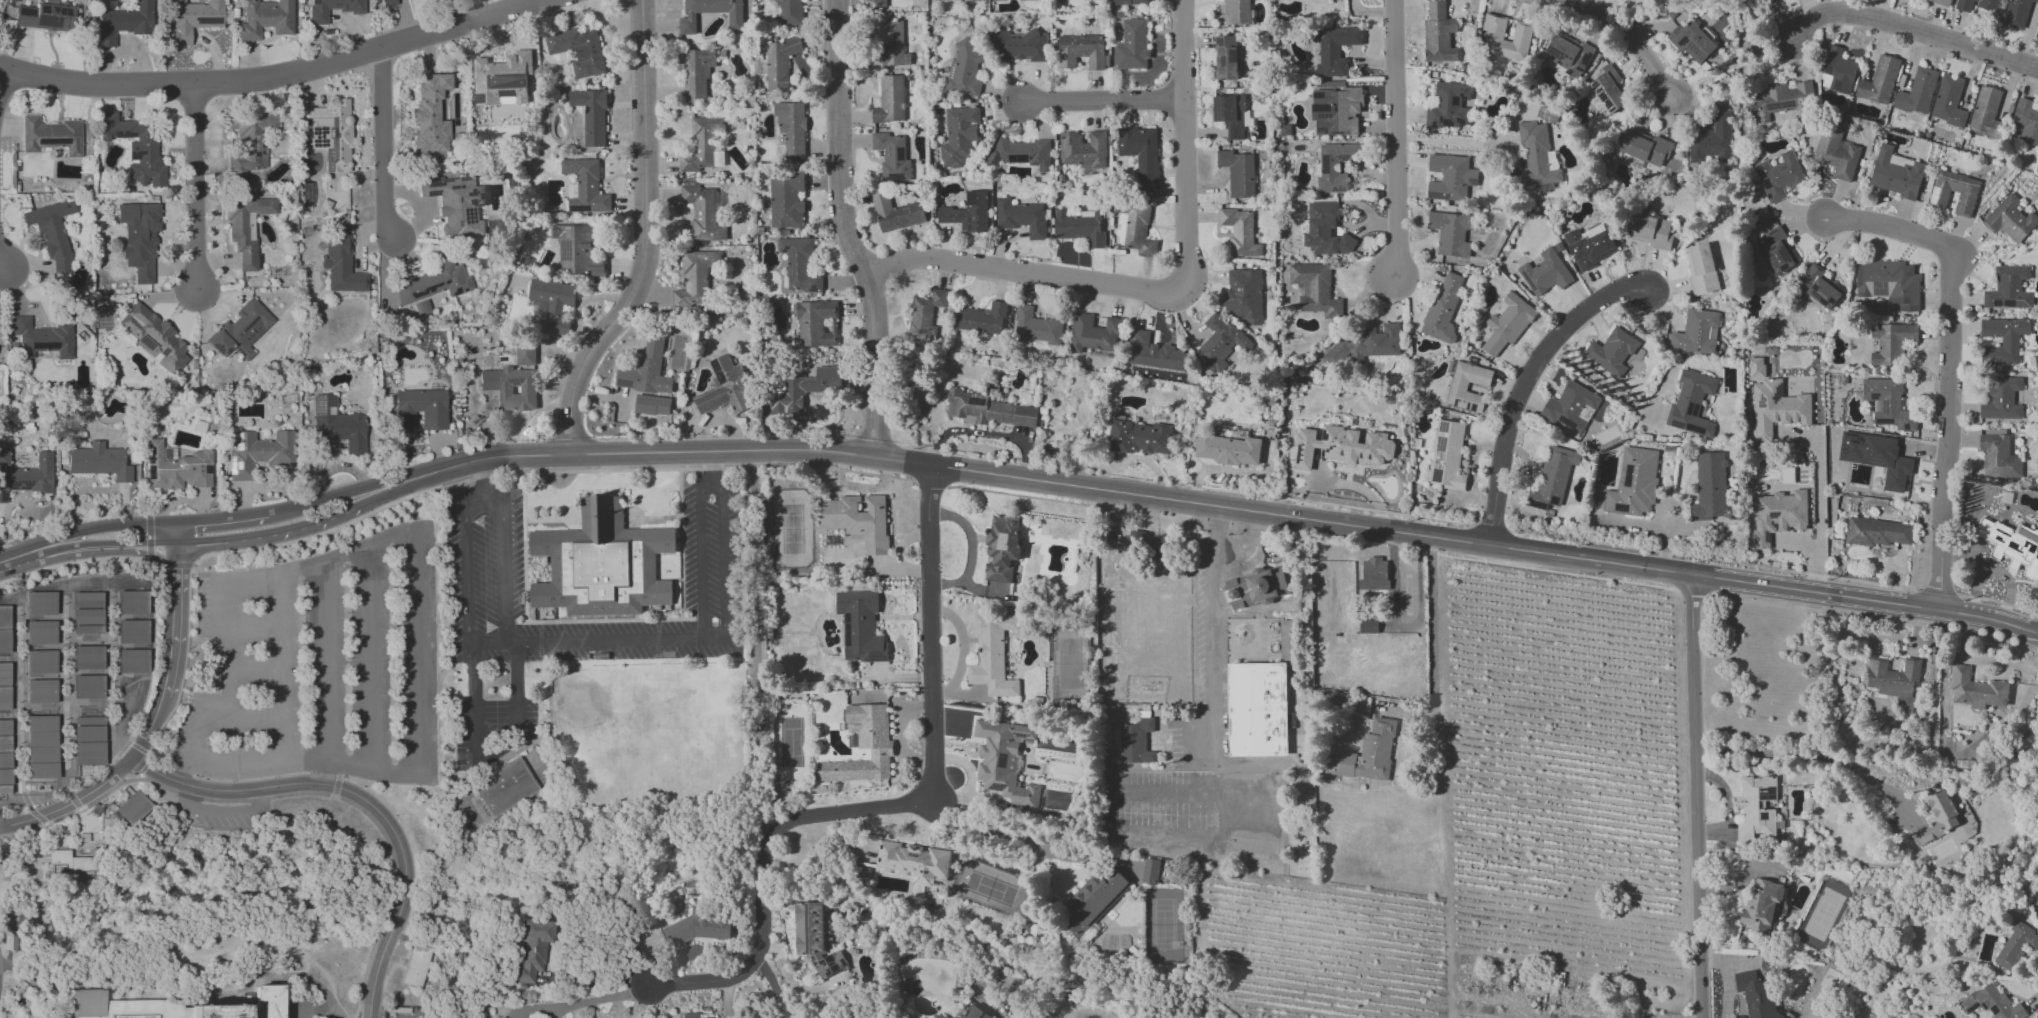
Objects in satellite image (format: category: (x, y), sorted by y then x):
building: (949, 0)
building: (1942, 1)
building: (877, 2)
building: (1137, 2)
building: (389, 3)
building: (1977, 5)
building: (332, 9)
rooftop solar panel: (40, 10)
rooftop solar panel: (50, 10)
rooftop solar panel: (23, 12)
building: (790, 12)
building: (1237, 12)
rooftop solar panel: (56, 13)
building: (2016, 13)
rooftop solar panel: (63, 14)
building: (735, 15)
building: (45, 16)
building: (194, 18)
building: (266, 18)
rooftop solar panel: (45, 22)
building: (123, 23)
road: (1911, 30)
road: (1627, 33)
building: (1438, 34)
building: (1494, 35)
rooftop solar panel: (1681, 40)
building: (1692, 41)
building: (892, 43)
building: (1019, 45)
building: (1132, 45)
rooftop solar panel: (1691, 48)
building: (1335, 49)
rooftop solar panel: (1549, 49)
building: (578, 50)
building: (1081, 50)
rooftop solar panel: (1554, 53)
building: (1568, 53)
rooftop solar panel: (1562, 55)
building: (1226, 57)
building: (777, 63)
building: (963, 69)
road: (1734, 71)
building: (1837, 71)
building: (697, 73)
road: (278, 76)
road: (1, 78)
building: (503, 79)
building: (1879, 80)
building: (1608, 89)
rooftop solar panel: (1318, 92)
building: (1917, 92)
rooftop solar panel: (502, 93)
rooftop solar panel: (509, 95)
rooftop solar panel: (1466, 97)
rooftop solar panel: (482, 98)
building: (890, 99)
building: (1780, 99)
rooftop solar panel: (1456, 101)
building: (1949, 101)
rooftop solar panel: (1326, 102)
road: (1101, 104)
rooftop solar panel: (1775, 104)
building: (1449, 106)
rooftop solar panel: (1220, 109)
building: (1338, 109)
rooftop solar panel: (1334, 110)
rooftop solar panel: (1453, 112)
building: (1986, 112)
building: (591, 114)
building: (1230, 114)
building: (432, 118)
rooftop solar panel: (1323, 118)
building: (2026, 120)
rooftop solar panel: (1451, 123)
rooftop solar panel: (1462, 123)
rooftop solar panel: (1435, 126)
rooftop solar panel: (1324, 130)
rooftop solar panel: (1232, 131)
building: (331, 134)
rooftop solar panel: (123, 135)
building: (959, 135)
rooftop solar panel: (1337, 135)
building: (50, 136)
road: (1394, 140)
rooftop solar panel: (51, 141)
road: (1453, 141)
building: (1712, 141)
building: (248, 143)
building: (701, 143)
road: (1182, 144)
road: (384, 146)
building: (1645, 147)
building: (135, 148)
building: (1083, 149)
building: (1141, 153)
building: (1837, 153)
building: (1022, 154)
rooftop solar panel: (134, 156)
building: (892, 156)
rooftop solar panel: (1340, 156)
building: (1536, 156)
rooftop solar panel: (1023, 159)
building: (1551, 159)
rooftop solar panel: (1328, 163)
building: (1335, 166)
building: (1238, 173)
building: (1896, 173)
rooftop solar panel: (1763, 175)
building: (1779, 176)
building: (1450, 177)
rooftop solar panel: (1471, 182)
rooftop solar panel: (1769, 183)
building: (585, 186)
road: (195, 188)
rooftop solar panel: (1341, 190)
building: (1955, 192)
rooftop solar panel: (1431, 195)
rooftop solar panel: (1771, 197)
building: (786, 200)
building: (456, 206)
rooftop solar panel: (581, 212)
building: (703, 212)
building: (968, 212)
building: (896, 213)
building: (1021, 217)
building: (2010, 219)
building: (245, 226)
building: (1079, 227)
building: (1138, 228)
road: (846, 230)
building: (1325, 230)
building: (1652, 231)
building: (52, 232)
building: (1240, 232)
building: (1451, 232)
building: (139, 238)
road: (648, 238)
building: (1590, 246)
rooftop solar panel: (565, 247)
building: (577, 250)
building: (1775, 251)
road: (3, 260)
building: (800, 264)
building: (340, 265)
rooftop solar panel: (794, 266)
building: (1701, 268)
building: (1545, 272)
road: (1023, 273)
building: (695, 277)
rooftop solar panel: (1817, 281)
rooftop solar panel: (445, 282)
building: (1889, 282)
building: (431, 286)
building: (1818, 287)
building: (2009, 288)
building: (1314, 289)
rooftop solar panel: (463, 290)
rooftop solar panel: (424, 291)
rooftop solar panel: (456, 292)
building: (1243, 293)
rooftop solar panel: (1821, 299)
building: (554, 303)
rooftop solar panel: (1995, 304)
rooftop solar panel: (2006, 304)
building: (1443, 308)
building: (925, 316)
building: (982, 318)
building: (817, 323)
building: (1508, 323)
building: (1036, 326)
building: (241, 330)
building: (1697, 332)
building: (1093, 333)
building: (153, 337)
building: (42, 339)
building: (2003, 340)
building: (1891, 342)
building: (1219, 343)
rooftop solar panel: (145, 345)
building: (1365, 345)
building: (1612, 351)
rooftop solar panel: (165, 352)
building: (1156, 353)
building: (526, 355)
road: (1949, 359)
building: (646, 370)
rooftop solar panel: (516, 382)
road: (1526, 382)
road: (1602, 382)
building: (1458, 384)
building: (511, 387)
building: (725, 387)
building: (805, 388)
rooftop solar panel: (1782, 391)
building: (2001, 398)
rooftop solar panel: (1762, 402)
building: (1691, 403)
building: (1888, 403)
rooftop solar panel: (979, 404)
rooftop solar panel: (318, 405)
building: (1570, 406)
building: (420, 408)
rooftop solar panel: (1690, 408)
building: (1777, 408)
building: (988, 409)
rooftop solar panel: (1696, 410)
rooftop solar panel: (1564, 423)
building: (337, 424)
rooftop solar panel: (1676, 425)
rooftop solar panel: (1441, 427)
rooftop solar panel: (1695, 430)
building: (1139, 437)
rooftop solar panel: (239, 440)
rooftop solar panel: (1439, 444)
building: (1342, 446)
rooftop solar panel: (237, 447)
building: (1228, 449)
building: (257, 453)
rooftop solar panel: (149, 455)
building: (1448, 455)
rooftop solar panel: (1854, 456)
building: (1876, 456)
building: (1999, 456)
rooftop solar panel: (1880, 461)
building: (98, 462)
rooftop solar panel: (230, 466)
rooftop solar panel: (239, 466)
building: (176, 468)
road: (711, 470)
rooftop solar panel: (205, 471)
road: (546, 472)
rooftop solar panel: (149, 473)
building: (25, 475)
rooftop solar panel: (1435, 475)
building: (1554, 475)
rooftop solar panel: (1627, 476)
road: (1038, 480)
rooftop solar panel: (20, 482)
road: (373, 482)
road: (480, 482)
building: (1633, 482)
road: (930, 483)
road: (420, 486)
building: (1710, 486)
road: (1023, 495)
rooftop solar panel: (1555, 501)
road: (484, 504)
rooftop solar panel: (1538, 505)
rooftop solar panel: (1623, 505)
road: (1818, 508)
flagpole: (563, 509)
road: (1377, 510)
rooftop solar panel: (1776, 515)
building: (1778, 515)
building: (859, 520)
road: (224, 521)
road: (320, 522)
road: (1654, 525)
road: (1489, 527)
park: (791, 528)
road: (89, 529)
building: (1879, 532)
rooftop solar panel: (1770, 537)
rooftop solar panel: (1759, 539)
road: (143, 543)
building: (1147, 544)
building: (2011, 544)
building: (1001, 547)
road: (971, 548)
road: (138, 551)
road: (701, 558)
road: (722, 559)
road: (1713, 559)
road: (4, 560)
parking lot: (486, 560)
road: (73, 561)
road: (149, 563)
building: (604, 563)
road: (1555, 571)
building: (1373, 577)
building: (1257, 586)
road: (1938, 591)
road: (1691, 592)
road: (1817, 592)
road: (1998, 601)
building: (41, 604)
building: (132, 604)
building: (88, 614)
road: (414, 616)
road: (1434, 616)
road: (1873, 617)
building: (1368, 625)
building: (861, 626)
building: (4, 629)
rooftop solar panel: (848, 629)
building: (42, 633)
building: (133, 633)
building: (1291, 637)
road: (714, 638)
road: (589, 641)
road: (470, 644)
road: (228, 647)
road: (175, 648)
road: (962, 649)
building: (992, 655)
rooftop solar panel: (877, 657)
building: (88, 658)
road: (369, 659)
building: (132, 662)
park: (1069, 662)
building: (41, 663)
road: (229, 668)
road: (276, 668)
road: (324, 674)
building: (1894, 680)
building: (5, 686)
building: (88, 687)
building: (1975, 690)
building: (42, 692)
road: (1210, 702)
building: (1257, 709)
road: (931, 714)
road: (204, 718)
building: (5, 727)
parking lot: (493, 730)
rooftop solar panel: (1022, 734)
building: (1116, 739)
building: (89, 741)
park: (791, 741)
building: (1137, 742)
building: (863, 746)
building: (42, 748)
building: (1368, 753)
road: (487, 754)
road: (1817, 757)
building: (1004, 760)
rooftop solar panel: (1003, 761)
building: (5, 765)
parking lot: (1200, 765)
road: (764, 766)
building: (505, 788)
rooftop solar panel: (1772, 795)
road: (1697, 797)
road: (358, 801)
road: (70, 804)
building: (1757, 807)
building: (133, 808)
rooftop solar panel: (1770, 815)
building: (1937, 817)
road: (1022, 840)
building: (913, 862)
building: (79, 864)
building: (1150, 871)
park: (990, 887)
building: (1094, 900)
building: (1764, 905)
building: (694, 929)
building: (815, 937)
building: (2016, 946)
building: (533, 949)
building: (417, 966)
road: (773, 985)
building: (1756, 995)
road: (602, 999)
building: (1992, 1002)
road: (991, 1004)
building: (244, 1006)
rooftop solar panel: (1985, 1006)
building: (120, 1007)
rooftop solar panel: (1975, 1008)
rooftop solar panel: (1994, 1008)
building: (976, 1013)
building: (398, 1015)
building: (688, 1015)
building: (951, 1016)
building: (2037, 1016)
building: (501, 1017)
building: (704, 1017)

